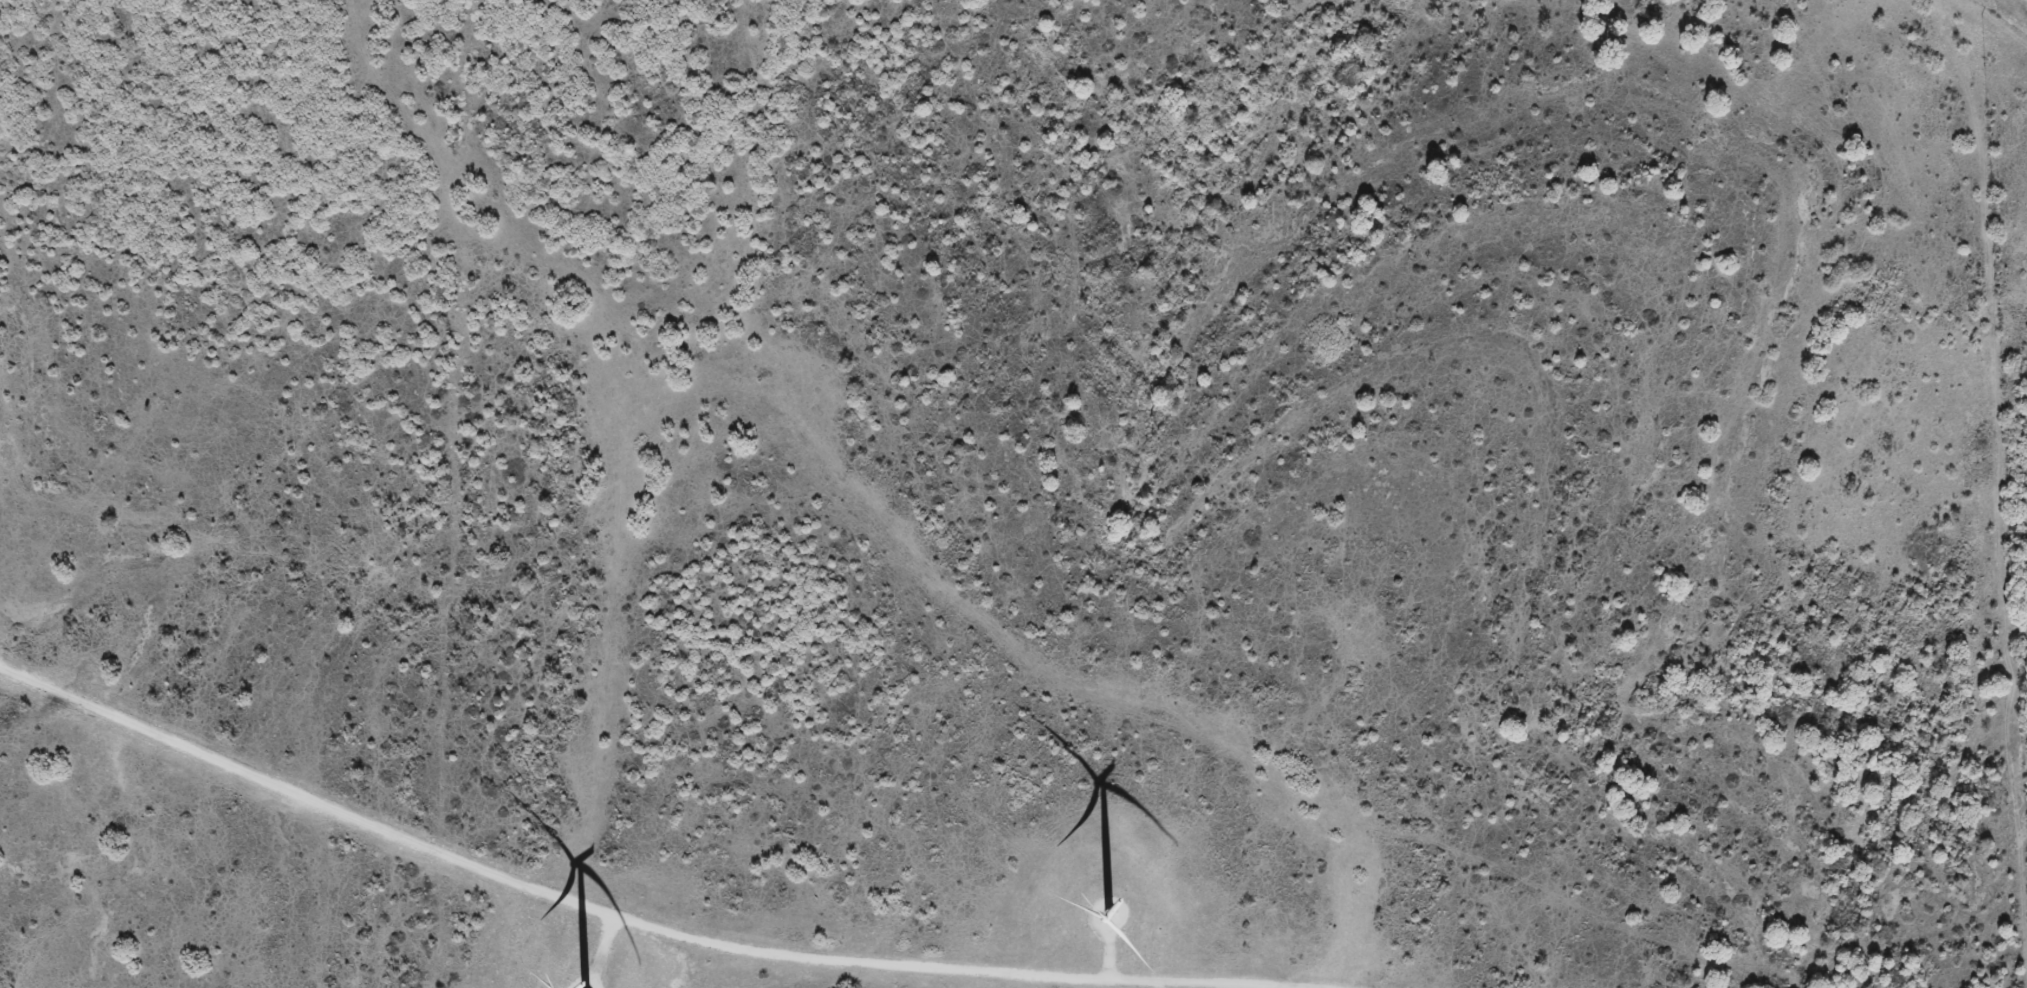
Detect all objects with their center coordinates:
wind turbine: (1109, 912)

